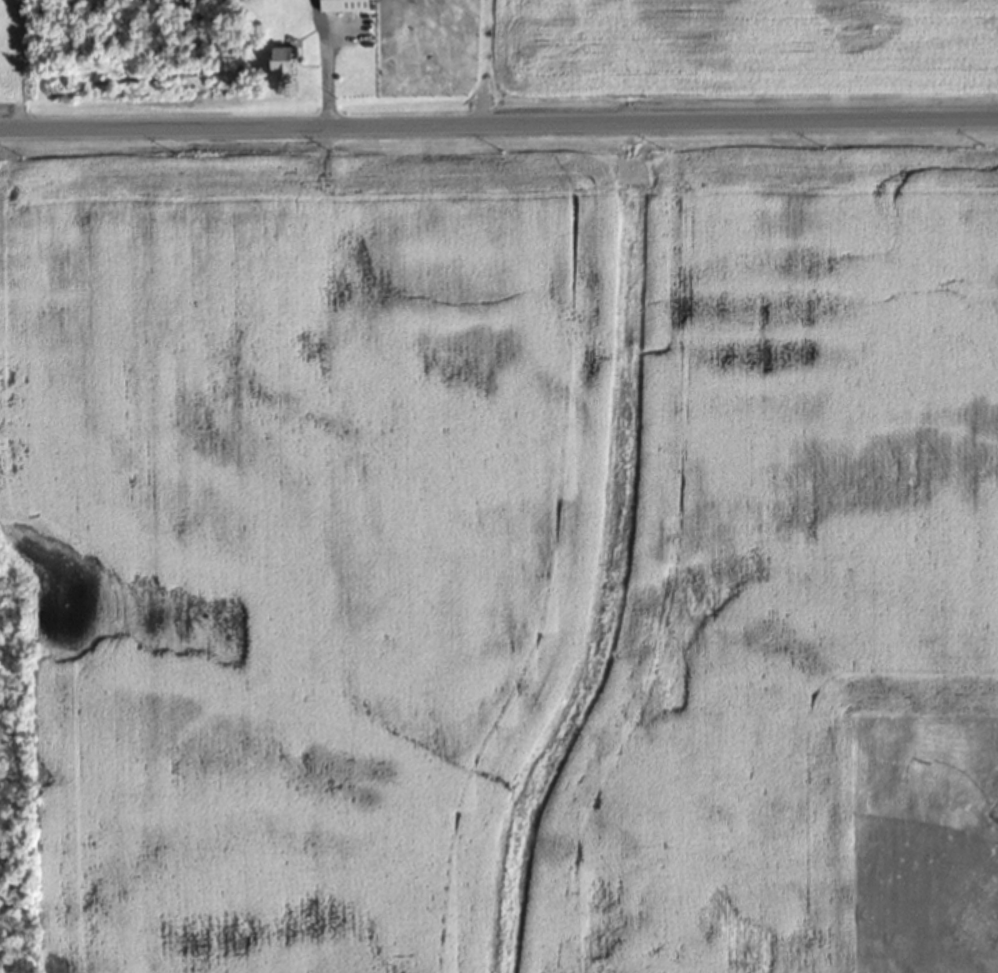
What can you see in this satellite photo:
building: (276, 59)
road: (499, 125)

